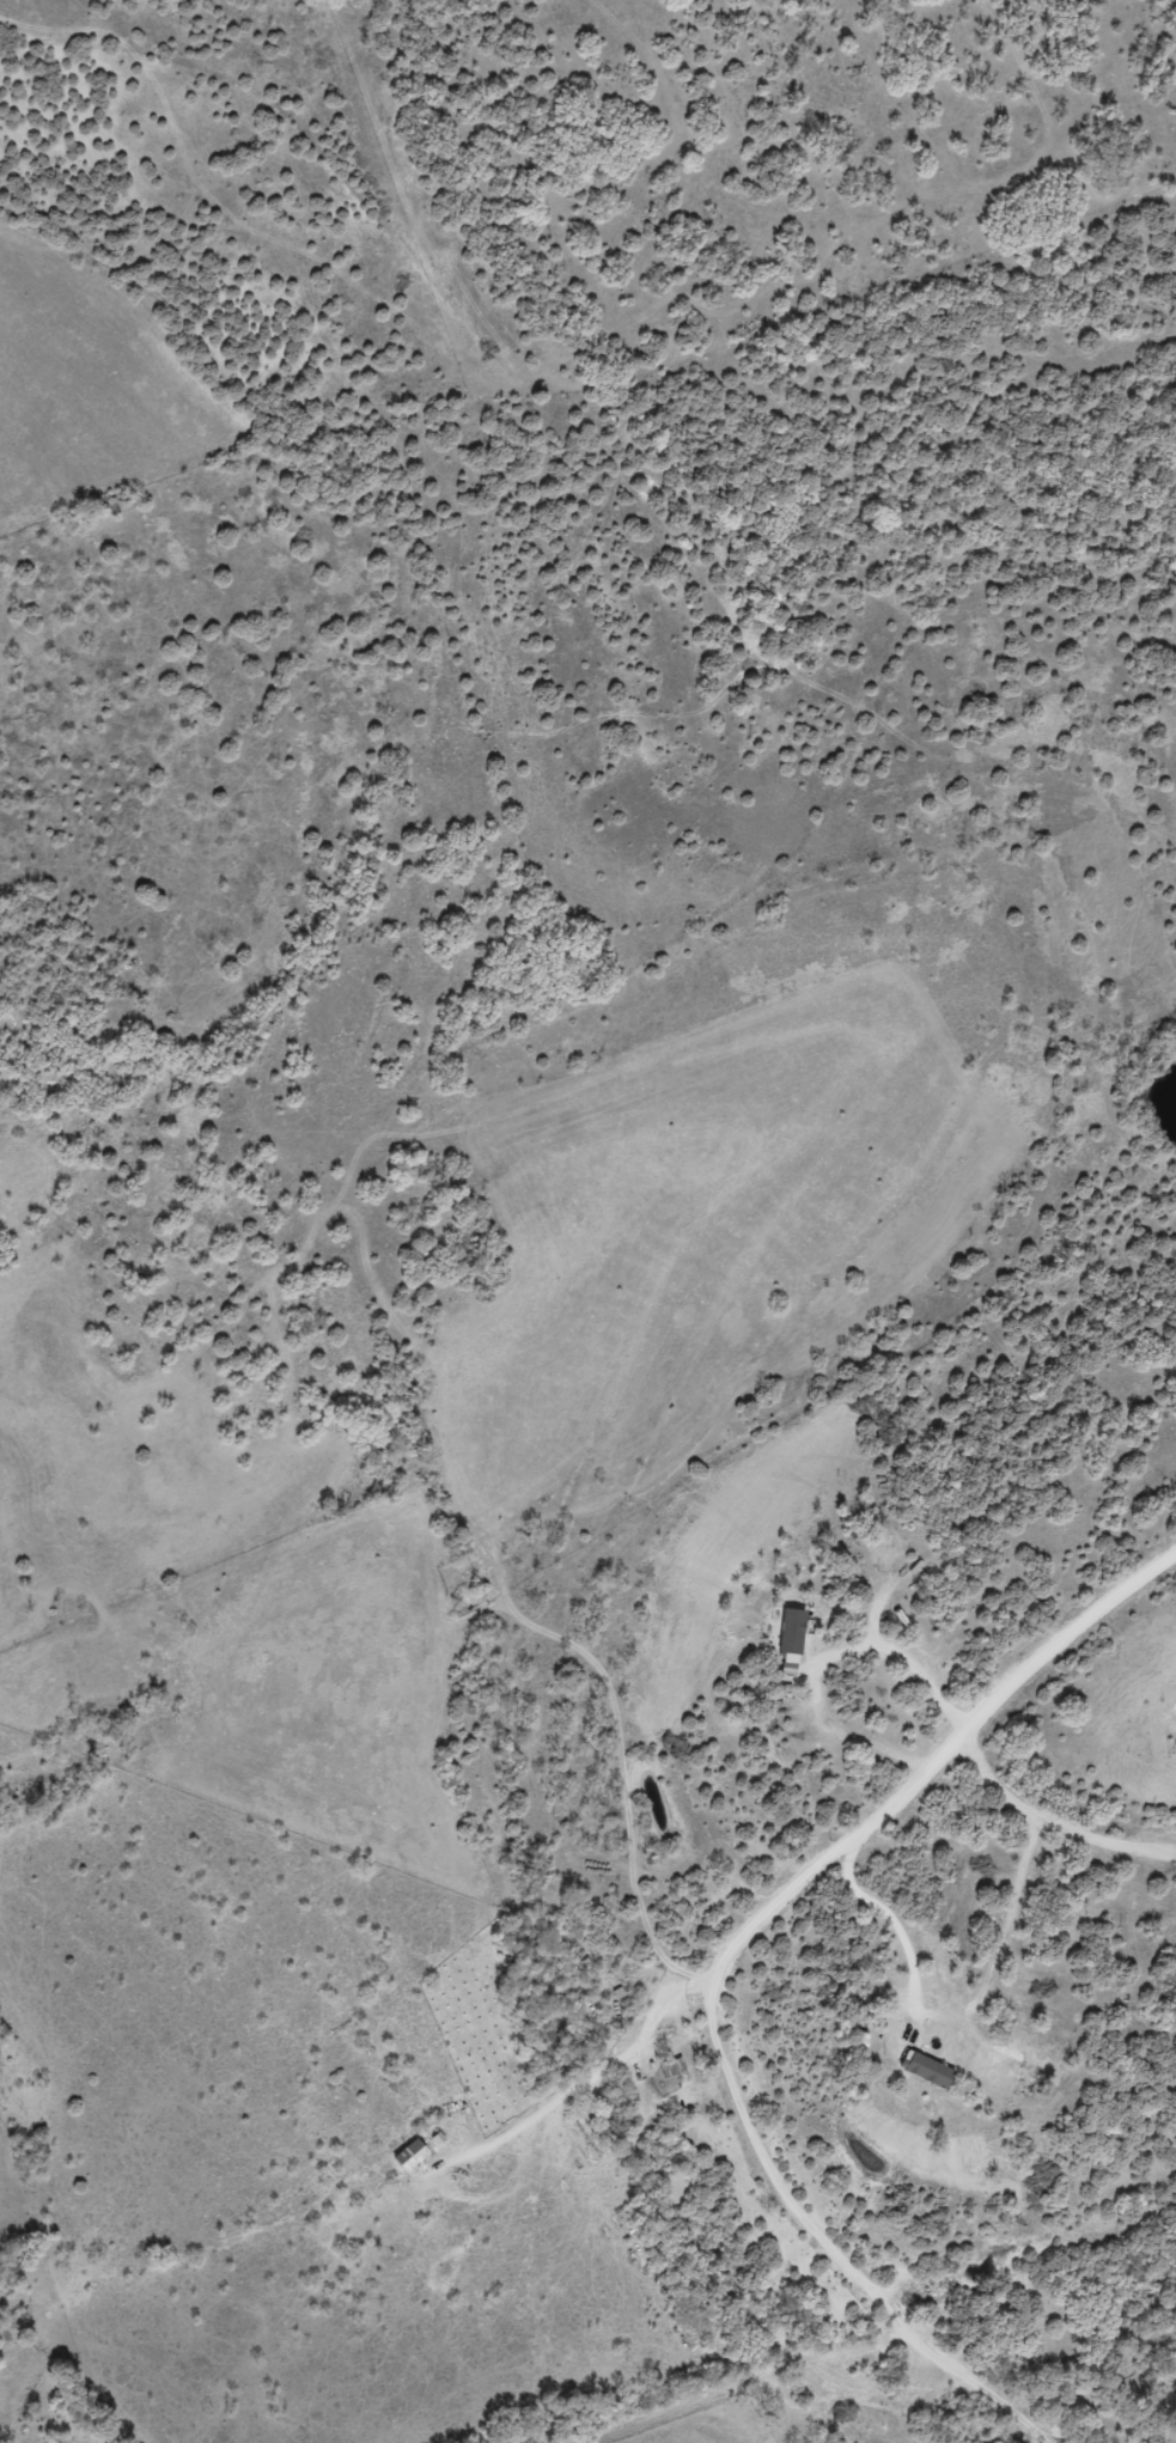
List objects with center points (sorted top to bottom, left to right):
building: (788, 1631)
road: (833, 1667)
road: (1049, 1833)
road: (738, 1956)
road: (942, 2023)
building: (670, 2067)
building: (925, 2070)
building: (408, 2156)
road: (379, 2204)

